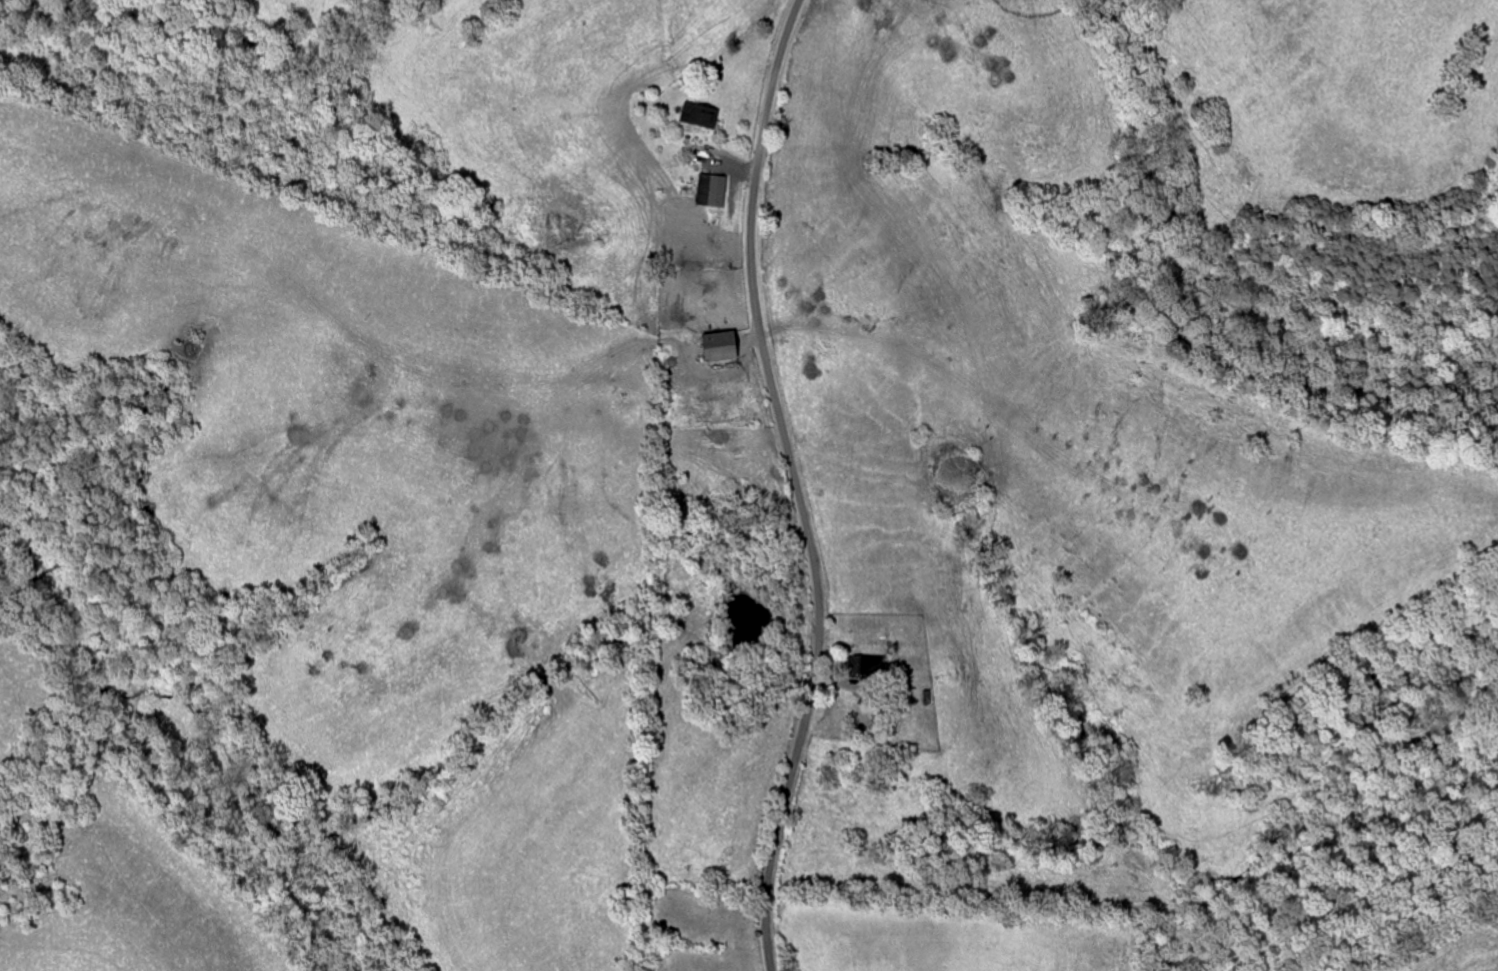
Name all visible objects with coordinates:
building: (702, 116)
building: (720, 192)
building: (726, 346)
road: (797, 484)
building: (869, 667)

